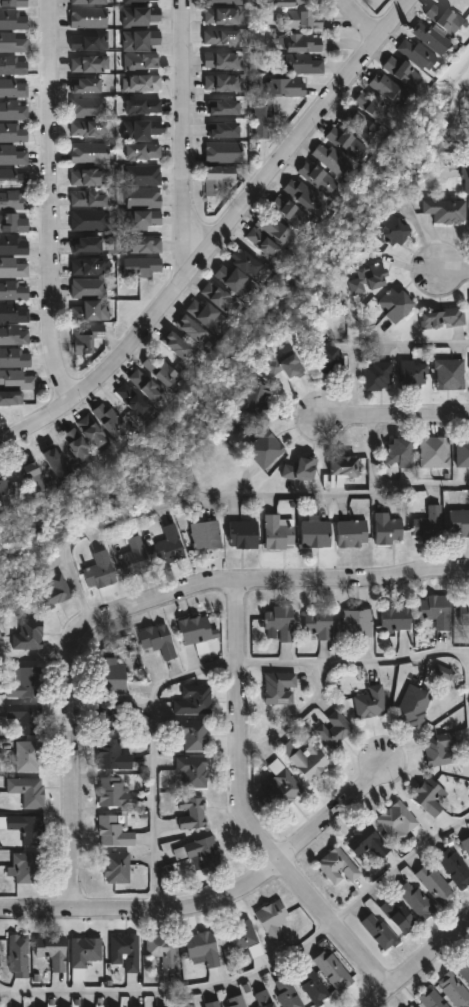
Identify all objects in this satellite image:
building: (268, 0)
building: (140, 1)
building: (88, 2)
building: (221, 2)
building: (291, 2)
building: (13, 3)
building: (140, 16)
building: (222, 16)
building: (87, 17)
building: (443, 17)
road: (358, 19)
building: (13, 20)
building: (300, 20)
building: (429, 37)
building: (220, 38)
building: (140, 40)
building: (13, 41)
building: (87, 41)
building: (296, 42)
building: (415, 54)
building: (221, 60)
building: (140, 61)
building: (298, 63)
building: (88, 64)
building: (13, 65)
building: (401, 71)
building: (141, 83)
building: (222, 83)
building: (86, 85)
building: (284, 87)
building: (13, 88)
building: (387, 89)
park: (449, 105)
building: (142, 106)
building: (87, 107)
building: (223, 107)
building: (374, 107)
building: (13, 111)
building: (262, 122)
building: (359, 124)
building: (88, 129)
building: (141, 130)
building: (223, 130)
building: (13, 133)
road: (181, 139)
building: (345, 143)
building: (142, 152)
building: (222, 152)
building: (89, 153)
building: (13, 155)
building: (331, 159)
building: (143, 175)
building: (88, 177)
building: (318, 177)
building: (13, 178)
building: (466, 178)
building: (217, 179)
building: (303, 194)
building: (143, 197)
building: (88, 198)
building: (13, 200)
road: (50, 201)
building: (446, 210)
building: (289, 212)
building: (89, 220)
building: (142, 220)
building: (13, 223)
building: (394, 230)
road: (216, 233)
building: (269, 235)
building: (86, 244)
building: (142, 244)
building: (13, 245)
building: (88, 266)
building: (141, 266)
building: (13, 267)
building: (239, 271)
road: (454, 276)
building: (370, 278)
building: (13, 290)
building: (219, 297)
building: (89, 300)
building: (395, 304)
building: (13, 313)
building: (205, 314)
building: (442, 318)
building: (191, 329)
building: (14, 335)
building: (86, 338)
building: (177, 345)
road: (412, 345)
building: (329, 358)
building: (14, 359)
building: (289, 367)
building: (161, 369)
building: (449, 373)
building: (413, 375)
building: (377, 376)
building: (145, 385)
building: (14, 386)
building: (256, 398)
building: (132, 399)
building: (110, 419)
road: (396, 420)
building: (93, 433)
building: (77, 445)
building: (266, 450)
building: (462, 451)
building: (433, 452)
building: (399, 453)
road: (373, 457)
building: (57, 463)
building: (343, 466)
building: (302, 469)
building: (31, 474)
building: (3, 493)
road: (220, 497)
building: (458, 522)
building: (427, 525)
building: (386, 529)
building: (277, 532)
building: (351, 533)
building: (204, 534)
building: (243, 534)
building: (314, 534)
building: (169, 545)
building: (134, 557)
building: (99, 571)
building: (54, 590)
road: (138, 607)
building: (434, 610)
building: (463, 610)
building: (394, 616)
building: (279, 621)
building: (317, 623)
building: (355, 623)
building: (193, 629)
building: (28, 633)
building: (155, 639)
road: (36, 659)
road: (353, 659)
building: (443, 673)
building: (111, 675)
building: (24, 682)
building: (278, 688)
building: (191, 700)
building: (369, 702)
building: (412, 705)
road: (468, 706)
building: (109, 716)
building: (26, 717)
road: (294, 718)
building: (332, 729)
building: (191, 734)
building: (438, 749)
road: (153, 754)
building: (110, 755)
building: (27, 756)
building: (304, 759)
building: (190, 771)
building: (278, 787)
building: (26, 791)
building: (112, 792)
building: (427, 796)
road: (241, 809)
building: (190, 813)
building: (395, 820)
building: (26, 828)
building: (111, 831)
building: (365, 842)
building: (466, 845)
building: (179, 854)
building: (203, 856)
building: (336, 866)
building: (115, 867)
road: (399, 867)
building: (454, 867)
building: (25, 868)
building: (167, 872)
building: (434, 883)
road: (219, 898)
building: (414, 899)
building: (396, 914)
building: (271, 919)
building: (377, 930)
building: (238, 935)
building: (201, 947)
building: (161, 949)
building: (51, 950)
building: (83, 951)
building: (123, 951)
building: (16, 955)
road: (418, 965)
building: (463, 969)
building: (331, 970)
building: (310, 985)
building: (452, 990)
road: (176, 991)
building: (285, 992)
building: (260, 999)
building: (429, 999)
building: (233, 1002)
building: (209, 1004)
building: (185, 1006)
building: (412, 1006)

